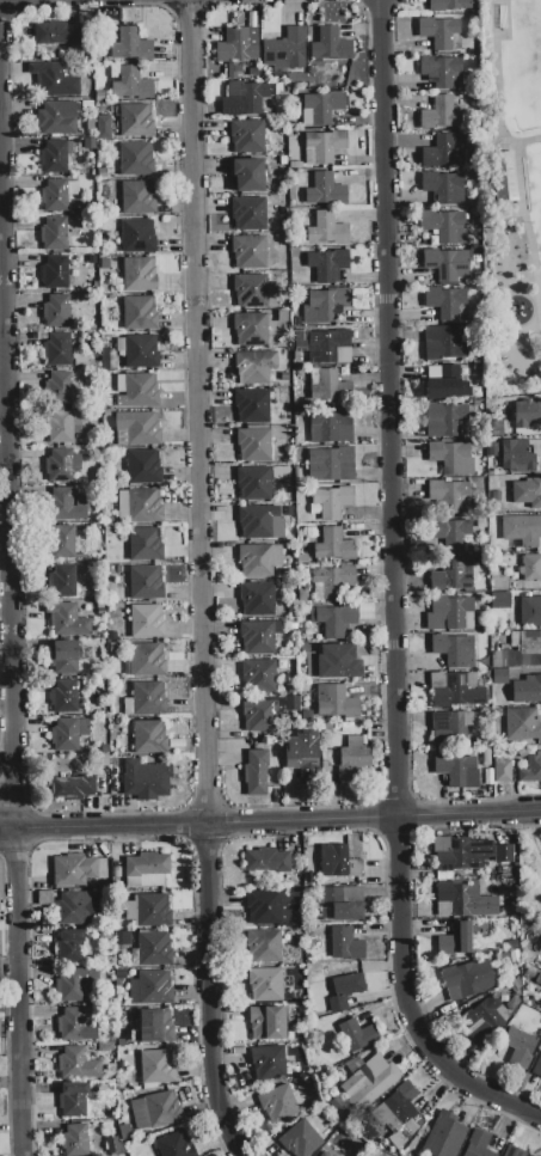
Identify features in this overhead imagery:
building: (448, 5)
building: (438, 32)
building: (56, 33)
building: (331, 44)
building: (130, 45)
building: (236, 47)
building: (285, 50)
building: (98, 60)
park: (521, 66)
building: (232, 69)
building: (313, 71)
building: (441, 71)
building: (296, 78)
building: (54, 80)
building: (131, 84)
road: (497, 88)
building: (91, 94)
building: (100, 96)
building: (247, 96)
building: (87, 105)
building: (321, 109)
building: (439, 114)
building: (56, 118)
building: (135, 121)
building: (103, 128)
building: (246, 136)
building: (88, 143)
building: (324, 147)
building: (444, 151)
building: (55, 157)
building: (136, 159)
building: (283, 160)
building: (295, 165)
park: (537, 172)
building: (102, 173)
building: (247, 175)
building: (503, 178)
park: (515, 182)
building: (442, 188)
building: (325, 190)
building: (54, 196)
building: (139, 197)
building: (248, 214)
building: (278, 216)
building: (444, 226)
building: (327, 230)
building: (53, 234)
building: (137, 236)
road: (528, 236)
building: (248, 252)
building: (297, 255)
building: (105, 263)
building: (445, 264)
building: (325, 267)
building: (54, 273)
building: (139, 275)
building: (250, 290)
building: (325, 304)
building: (447, 304)
building: (55, 311)
building: (139, 313)
building: (250, 329)
building: (451, 342)
building: (330, 347)
building: (57, 350)
building: (139, 350)
building: (297, 356)
building: (82, 361)
building: (254, 367)
building: (322, 384)
building: (447, 384)
building: (59, 389)
building: (136, 391)
building: (252, 406)
building: (106, 412)
building: (527, 414)
building: (447, 421)
building: (60, 427)
building: (331, 427)
building: (137, 429)
building: (254, 445)
building: (535, 446)
building: (491, 449)
building: (517, 457)
building: (450, 458)
building: (331, 464)
building: (59, 466)
building: (143, 467)
building: (253, 483)
building: (527, 493)
building: (445, 496)
building: (496, 496)
building: (331, 502)
building: (64, 504)
building: (139, 506)
building: (287, 510)
building: (260, 522)
building: (522, 530)
building: (450, 536)
building: (62, 543)
building: (146, 544)
building: (334, 545)
building: (259, 559)
building: (118, 569)
building: (530, 569)
building: (110, 570)
building: (453, 575)
road: (205, 580)
building: (62, 581)
building: (146, 582)
building: (499, 582)
building: (334, 583)
road: (396, 593)
building: (302, 594)
building: (257, 599)
building: (499, 600)
building: (100, 606)
road: (12, 610)
building: (100, 612)
building: (530, 612)
building: (450, 613)
building: (67, 620)
building: (334, 620)
building: (147, 622)
building: (111, 636)
building: (258, 637)
building: (305, 648)
building: (115, 649)
building: (454, 650)
building: (520, 650)
building: (64, 656)
building: (148, 660)
building: (337, 662)
building: (128, 666)
building: (259, 677)
building: (499, 677)
building: (306, 687)
building: (527, 689)
building: (457, 693)
building: (63, 697)
building: (148, 698)
building: (336, 702)
road: (7, 704)
building: (128, 707)
building: (258, 715)
building: (307, 716)
building: (522, 724)
building: (308, 728)
building: (346, 728)
building: (328, 729)
building: (450, 732)
building: (64, 735)
building: (149, 738)
road: (7, 747)
building: (105, 748)
building: (354, 753)
building: (521, 753)
building: (486, 754)
building: (105, 760)
building: (113, 762)
building: (303, 762)
building: (454, 770)
building: (530, 770)
building: (503, 771)
building: (116, 773)
building: (256, 773)
building: (146, 779)
building: (75, 787)
road: (270, 822)
building: (460, 852)
building: (503, 854)
building: (268, 861)
building: (147, 864)
building: (339, 864)
building: (72, 870)
building: (116, 871)
building: (296, 877)
building: (465, 901)
building: (340, 904)
building: (72, 906)
building: (262, 907)
building: (148, 911)
road: (10, 930)
building: (105, 934)
building: (122, 938)
building: (456, 940)
building: (345, 944)
building: (263, 946)
building: (514, 946)
building: (68, 947)
building: (152, 949)
building: (530, 973)
building: (121, 974)
building: (466, 979)
building: (73, 984)
building: (265, 984)
building: (515, 984)
building: (152, 987)
building: (344, 990)
building: (300, 995)
building: (118, 1003)
building: (121, 1015)
building: (482, 1015)
building: (266, 1023)
building: (74, 1026)
building: (155, 1026)
building: (122, 1027)
building: (357, 1034)
building: (520, 1046)
building: (105, 1047)
building: (239, 1052)
building: (268, 1060)
building: (78, 1063)
building: (156, 1066)
building: (537, 1068)
building: (110, 1070)
building: (371, 1081)
building: (105, 1089)
building: (296, 1097)
building: (73, 1100)
building: (314, 1101)
building: (277, 1103)
building: (338, 1107)
building: (399, 1107)
building: (154, 1111)
building: (125, 1132)
building: (445, 1136)
building: (301, 1139)
building: (74, 1140)
building: (475, 1144)
building: (112, 1145)
building: (174, 1145)
building: (134, 1150)
building: (511, 1151)
building: (322, 1154)

